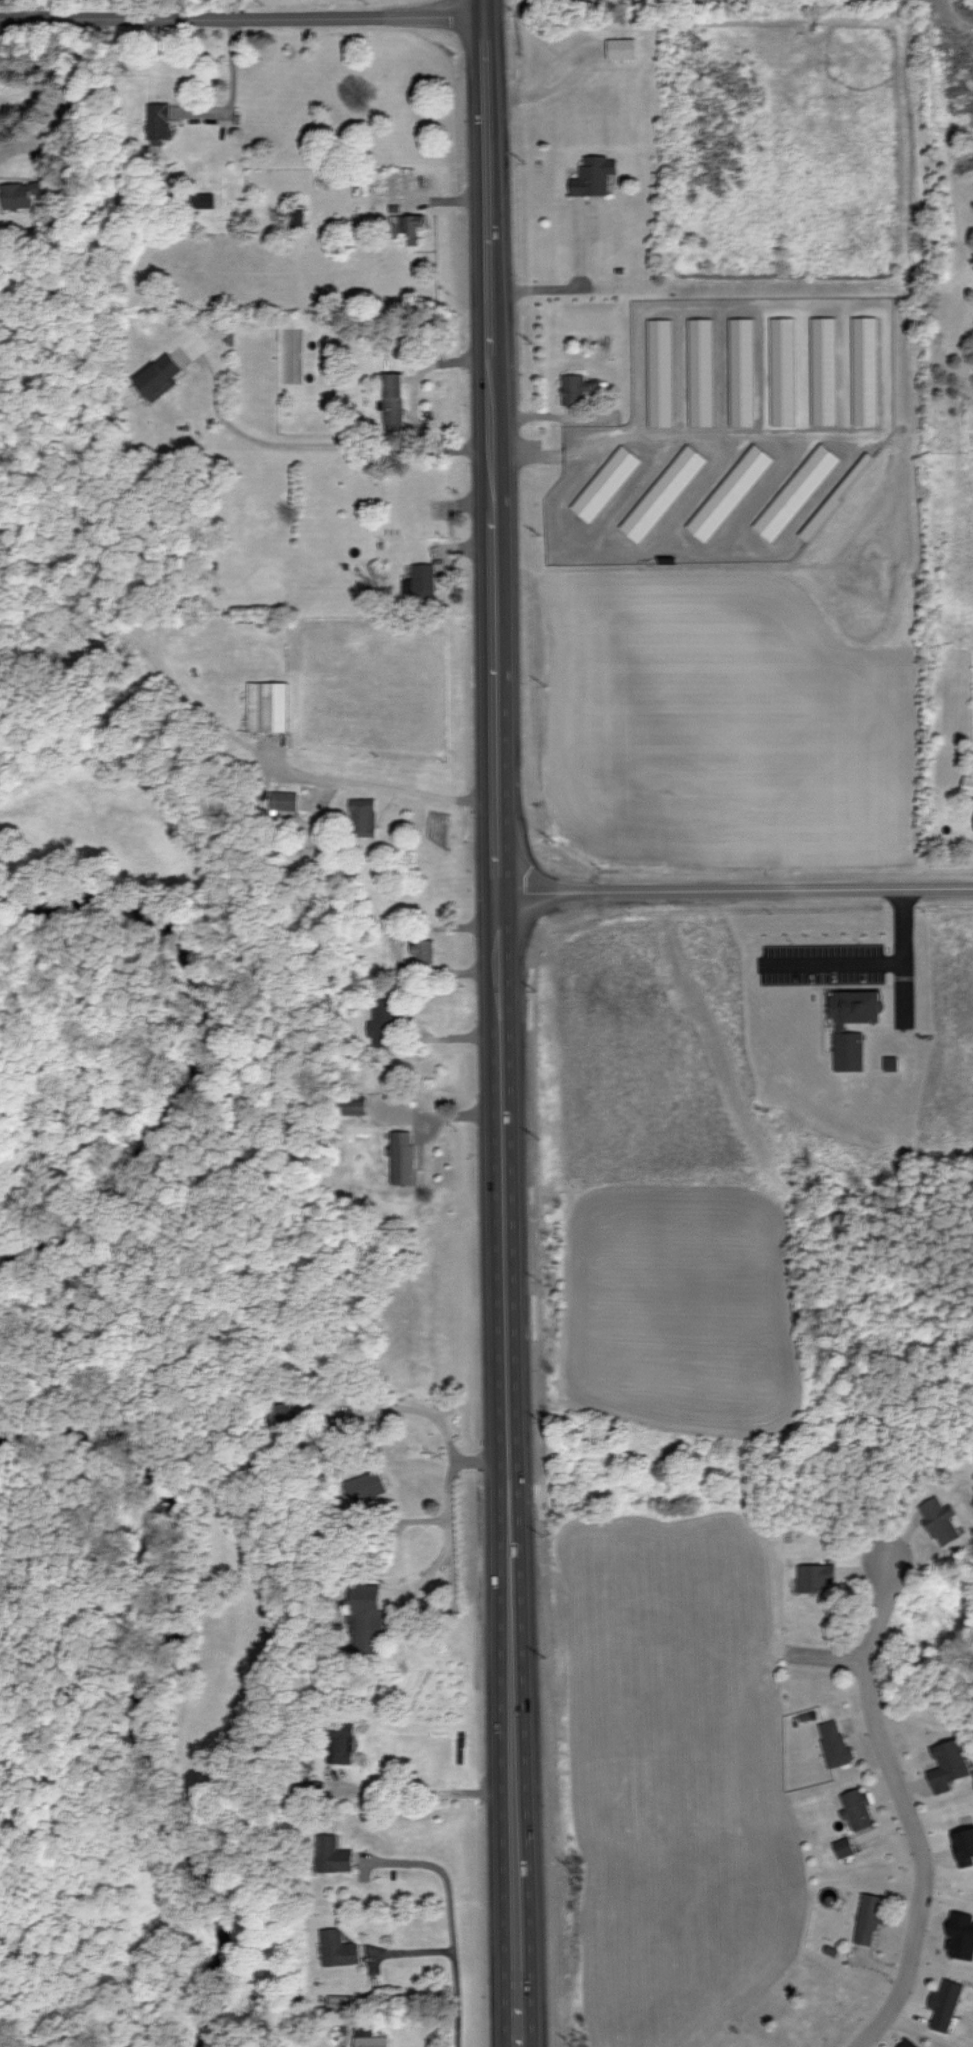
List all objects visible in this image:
road: (240, 15)
building: (621, 48)
building: (159, 122)
building: (594, 175)
building: (23, 193)
building: (203, 199)
building: (298, 216)
building: (415, 227)
building: (826, 370)
building: (702, 371)
building: (743, 371)
building: (784, 371)
building: (867, 371)
building: (661, 372)
building: (160, 377)
building: (393, 400)
road: (316, 445)
building: (606, 483)
building: (730, 492)
building: (797, 492)
building: (664, 493)
building: (421, 583)
building: (268, 706)
building: (968, 784)
road: (411, 790)
building: (284, 800)
building: (363, 817)
road: (733, 892)
building: (423, 950)
road: (905, 959)
road: (835, 966)
building: (382, 1022)
road: (496, 1023)
building: (841, 1026)
building: (892, 1063)
building: (355, 1104)
building: (403, 1157)
building: (286, 1413)
road: (434, 1417)
building: (365, 1486)
road: (450, 1518)
building: (939, 1520)
building: (816, 1577)
building: (368, 1618)
building: (342, 1742)
building: (835, 1743)
building: (949, 1764)
building: (315, 1788)
road: (425, 1794)
road: (903, 1805)
building: (857, 1808)
building: (964, 1846)
building: (844, 1847)
building: (333, 1853)
building: (870, 1917)
road: (453, 1924)
building: (961, 1935)
building: (338, 1948)
road: (417, 1954)
building: (341, 2002)
building: (946, 2004)
building: (908, 2043)

